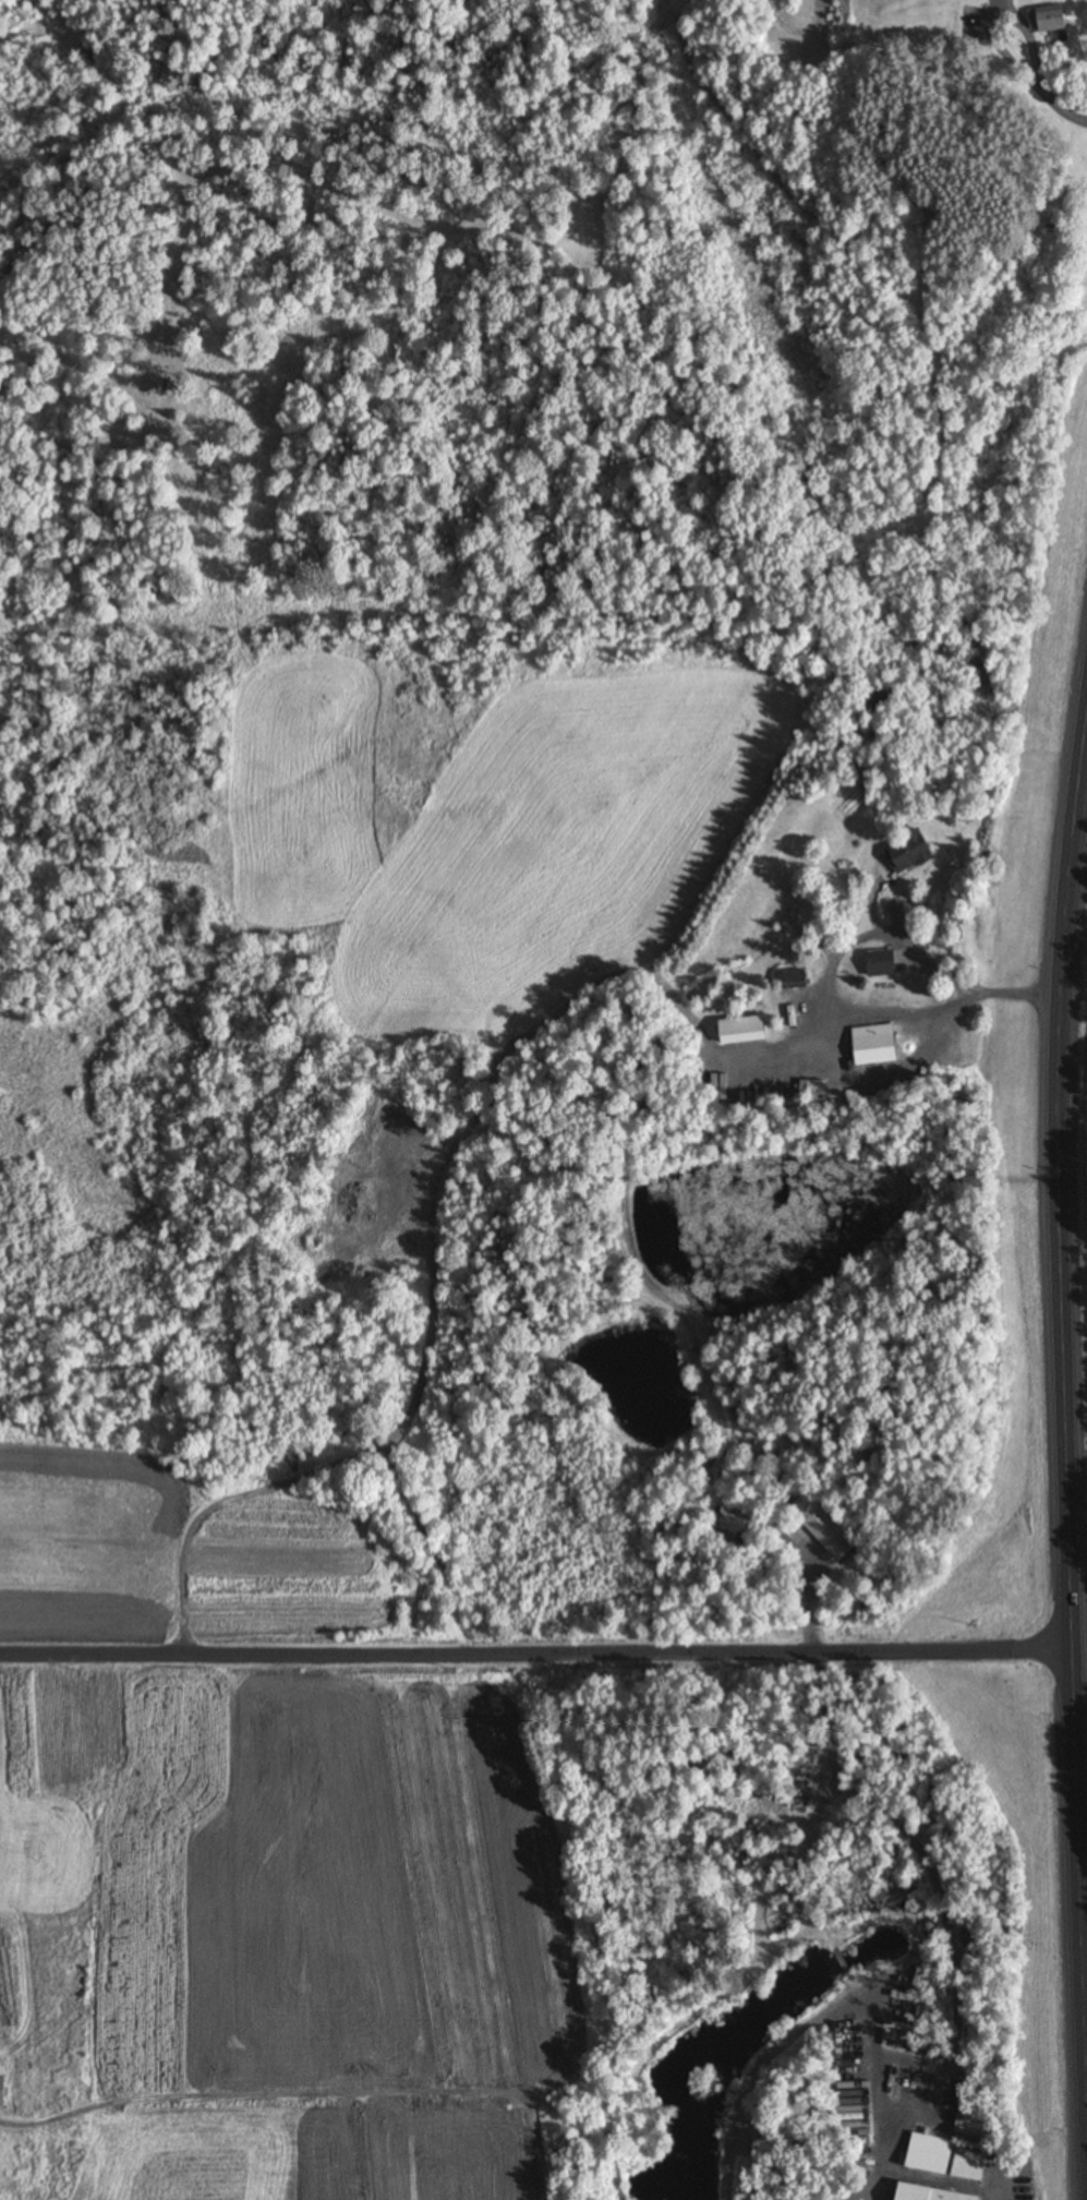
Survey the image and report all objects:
building: (1047, 22)
road: (1085, 832)
building: (904, 851)
building: (875, 963)
building: (788, 979)
building: (737, 1031)
building: (871, 1045)
road: (1072, 1395)
building: (821, 1527)
road: (536, 1657)
building: (1, 2091)
building: (941, 2157)
building: (923, 2193)

